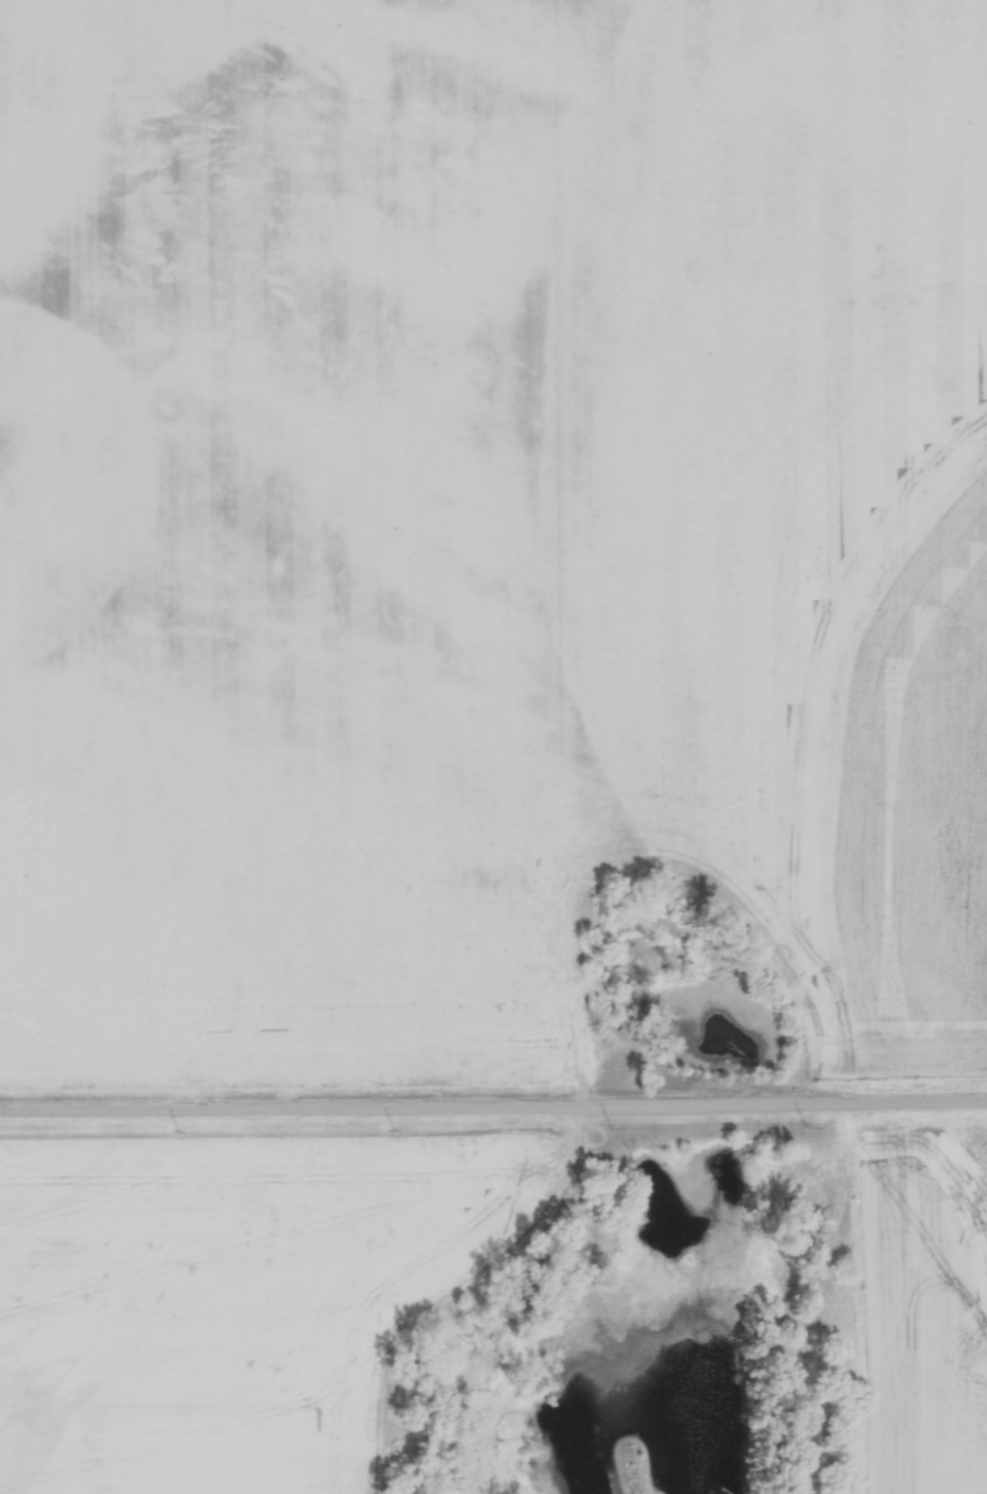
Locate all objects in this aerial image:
road: (493, 1107)
road: (690, 1250)

